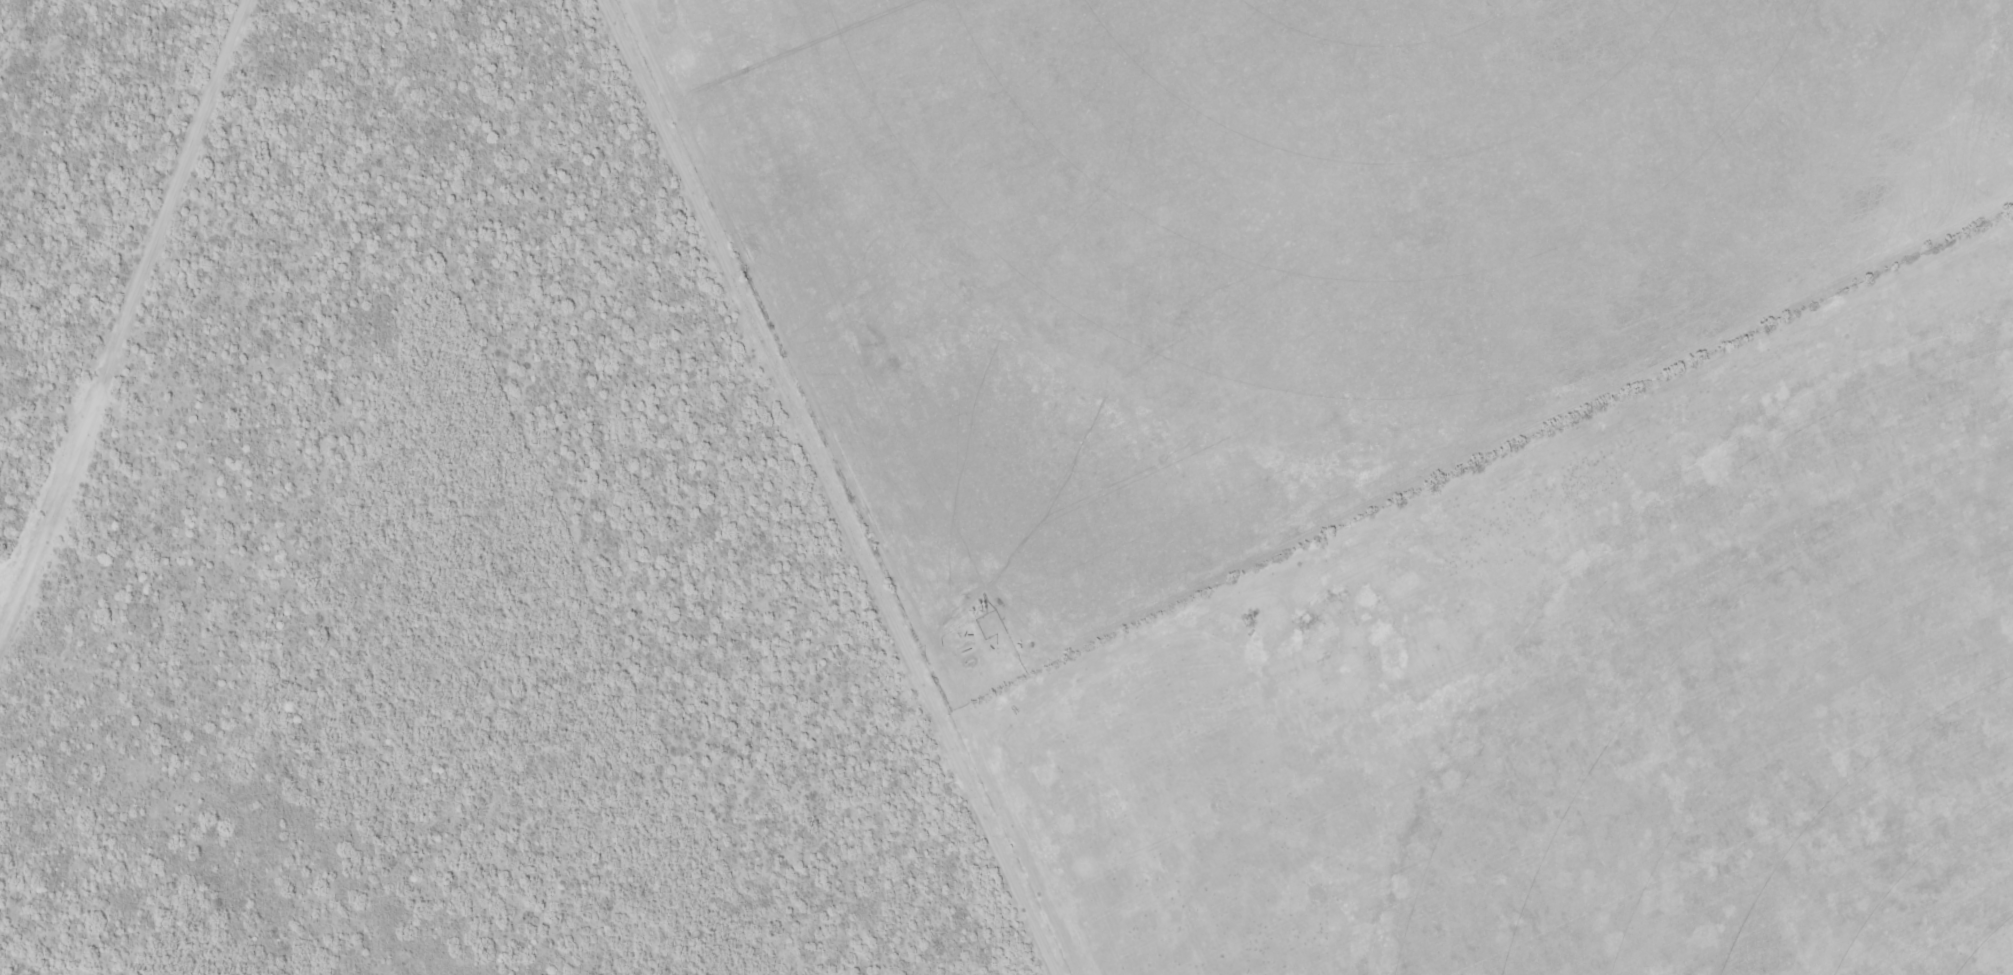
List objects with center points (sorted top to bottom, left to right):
road: (130, 314)
road: (858, 507)

